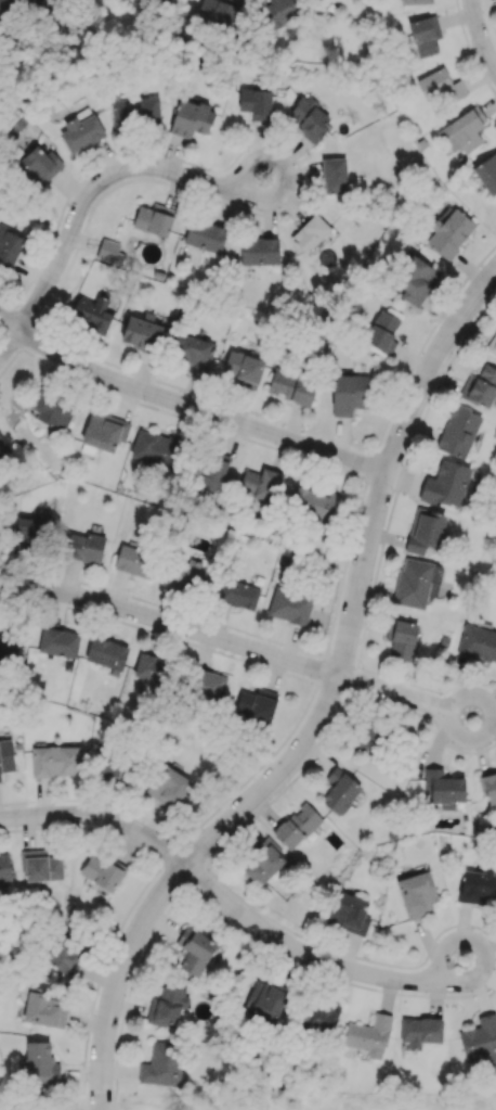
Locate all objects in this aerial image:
building: (161, 0)
building: (415, 1)
building: (35, 2)
building: (218, 12)
building: (277, 13)
road: (480, 35)
building: (425, 36)
building: (438, 87)
building: (256, 103)
building: (135, 112)
building: (191, 118)
building: (309, 118)
building: (467, 129)
building: (80, 132)
building: (38, 166)
building: (486, 174)
building: (334, 175)
road: (101, 187)
building: (154, 219)
building: (448, 231)
building: (310, 232)
building: (205, 235)
building: (9, 246)
building: (259, 251)
building: (109, 252)
building: (415, 280)
building: (92, 312)
building: (382, 331)
building: (142, 333)
building: (493, 341)
road: (11, 348)
building: (192, 348)
building: (244, 368)
building: (291, 386)
building: (480, 387)
building: (349, 393)
building: (52, 407)
road: (188, 408)
building: (104, 431)
building: (457, 432)
building: (3, 448)
building: (155, 448)
building: (211, 471)
building: (259, 484)
building: (445, 484)
building: (311, 503)
building: (26, 523)
building: (425, 531)
building: (84, 547)
building: (136, 561)
building: (187, 573)
building: (413, 583)
building: (237, 594)
building: (289, 605)
road: (171, 625)
building: (402, 638)
building: (58, 641)
building: (478, 642)
building: (8, 649)
building: (106, 653)
building: (152, 669)
building: (207, 686)
road: (414, 700)
road: (330, 702)
building: (257, 704)
building: (369, 739)
building: (6, 756)
building: (55, 760)
building: (109, 765)
building: (488, 786)
building: (170, 787)
building: (443, 788)
building: (339, 790)
road: (97, 819)
building: (297, 826)
building: (263, 863)
building: (40, 866)
building: (4, 867)
building: (102, 871)
building: (477, 885)
building: (416, 893)
building: (349, 914)
building: (194, 950)
building: (64, 955)
road: (313, 960)
building: (264, 1000)
building: (167, 1006)
building: (44, 1007)
building: (323, 1016)
building: (420, 1031)
building: (368, 1035)
building: (480, 1039)
building: (40, 1061)
building: (161, 1064)
road: (105, 1099)

